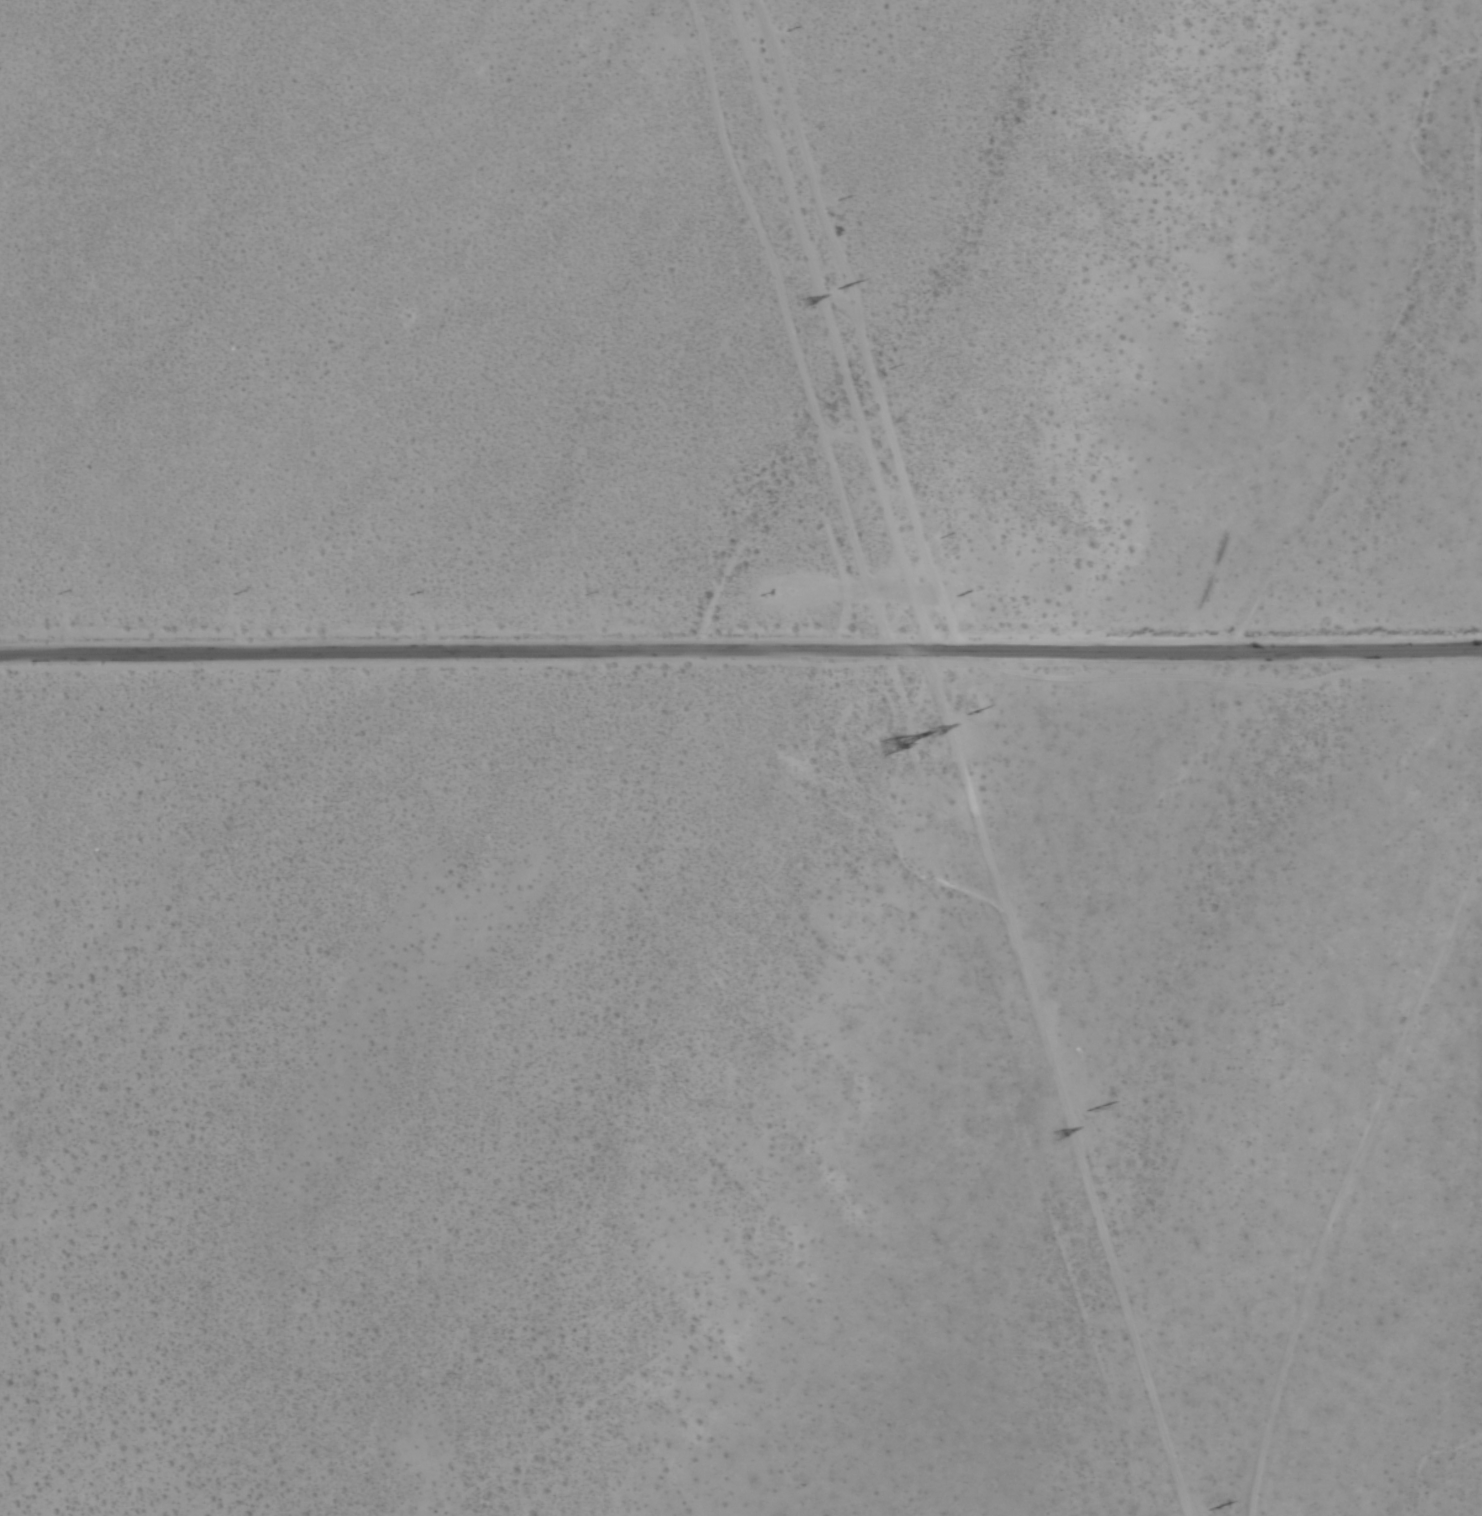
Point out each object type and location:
power tower: (846, 292)
power tower: (806, 304)
road: (741, 649)
power tower: (973, 711)
power tower: (932, 733)
power tower: (895, 748)
power tower: (1092, 1110)
power tower: (1058, 1136)
power tower: (1211, 1510)

